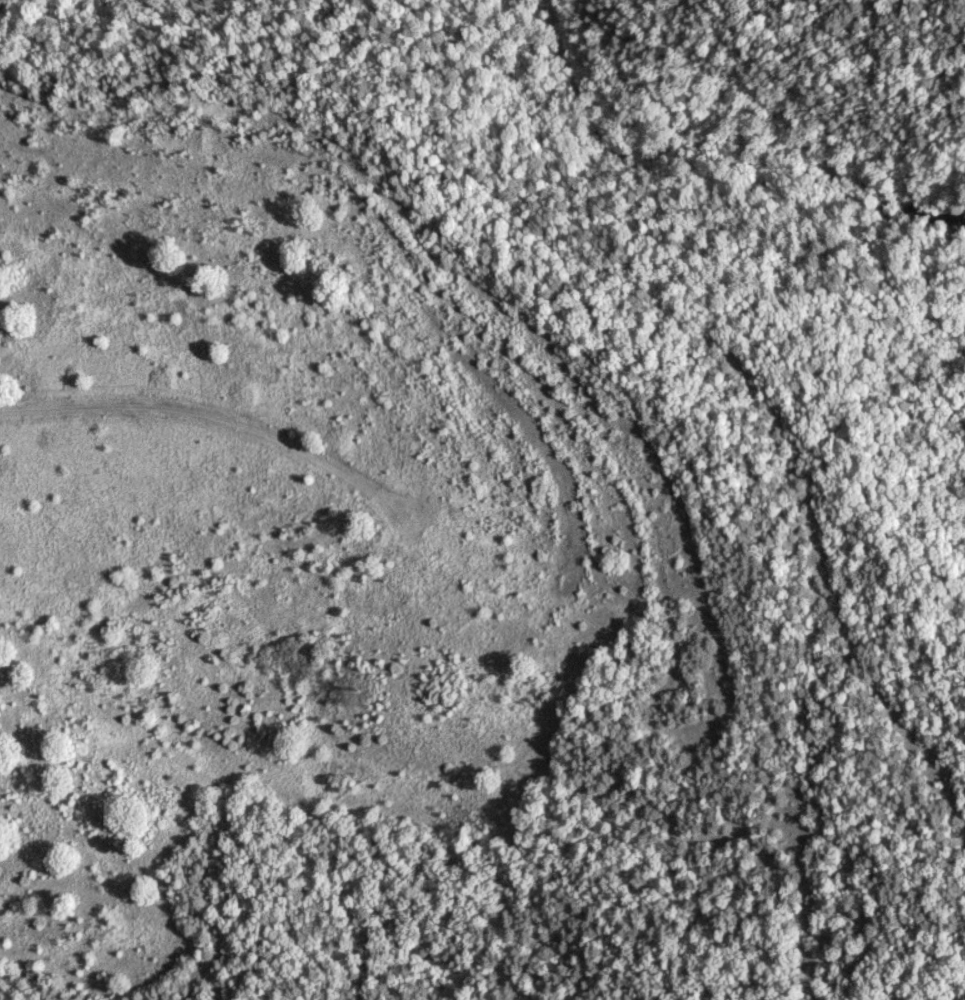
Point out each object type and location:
road: (194, 410)
road: (417, 526)

